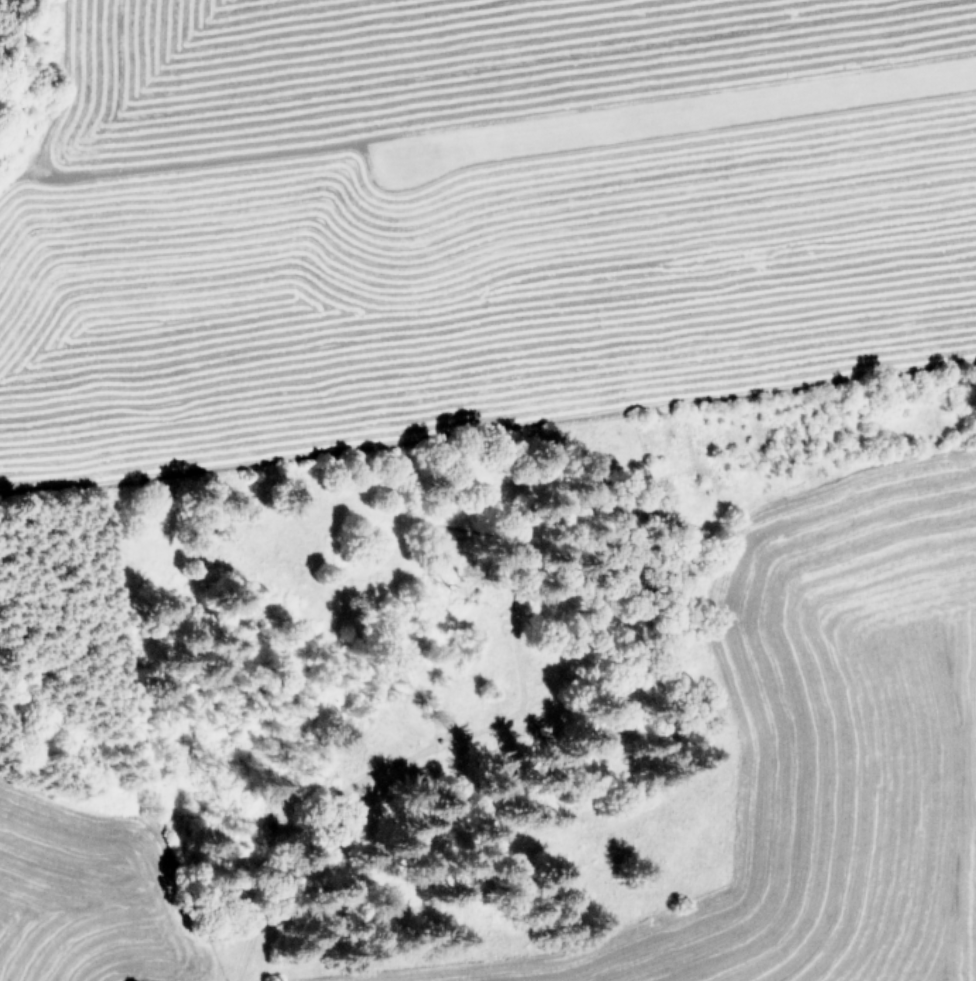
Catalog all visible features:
airport runway: (684, 119)
crop: (563, 411)

